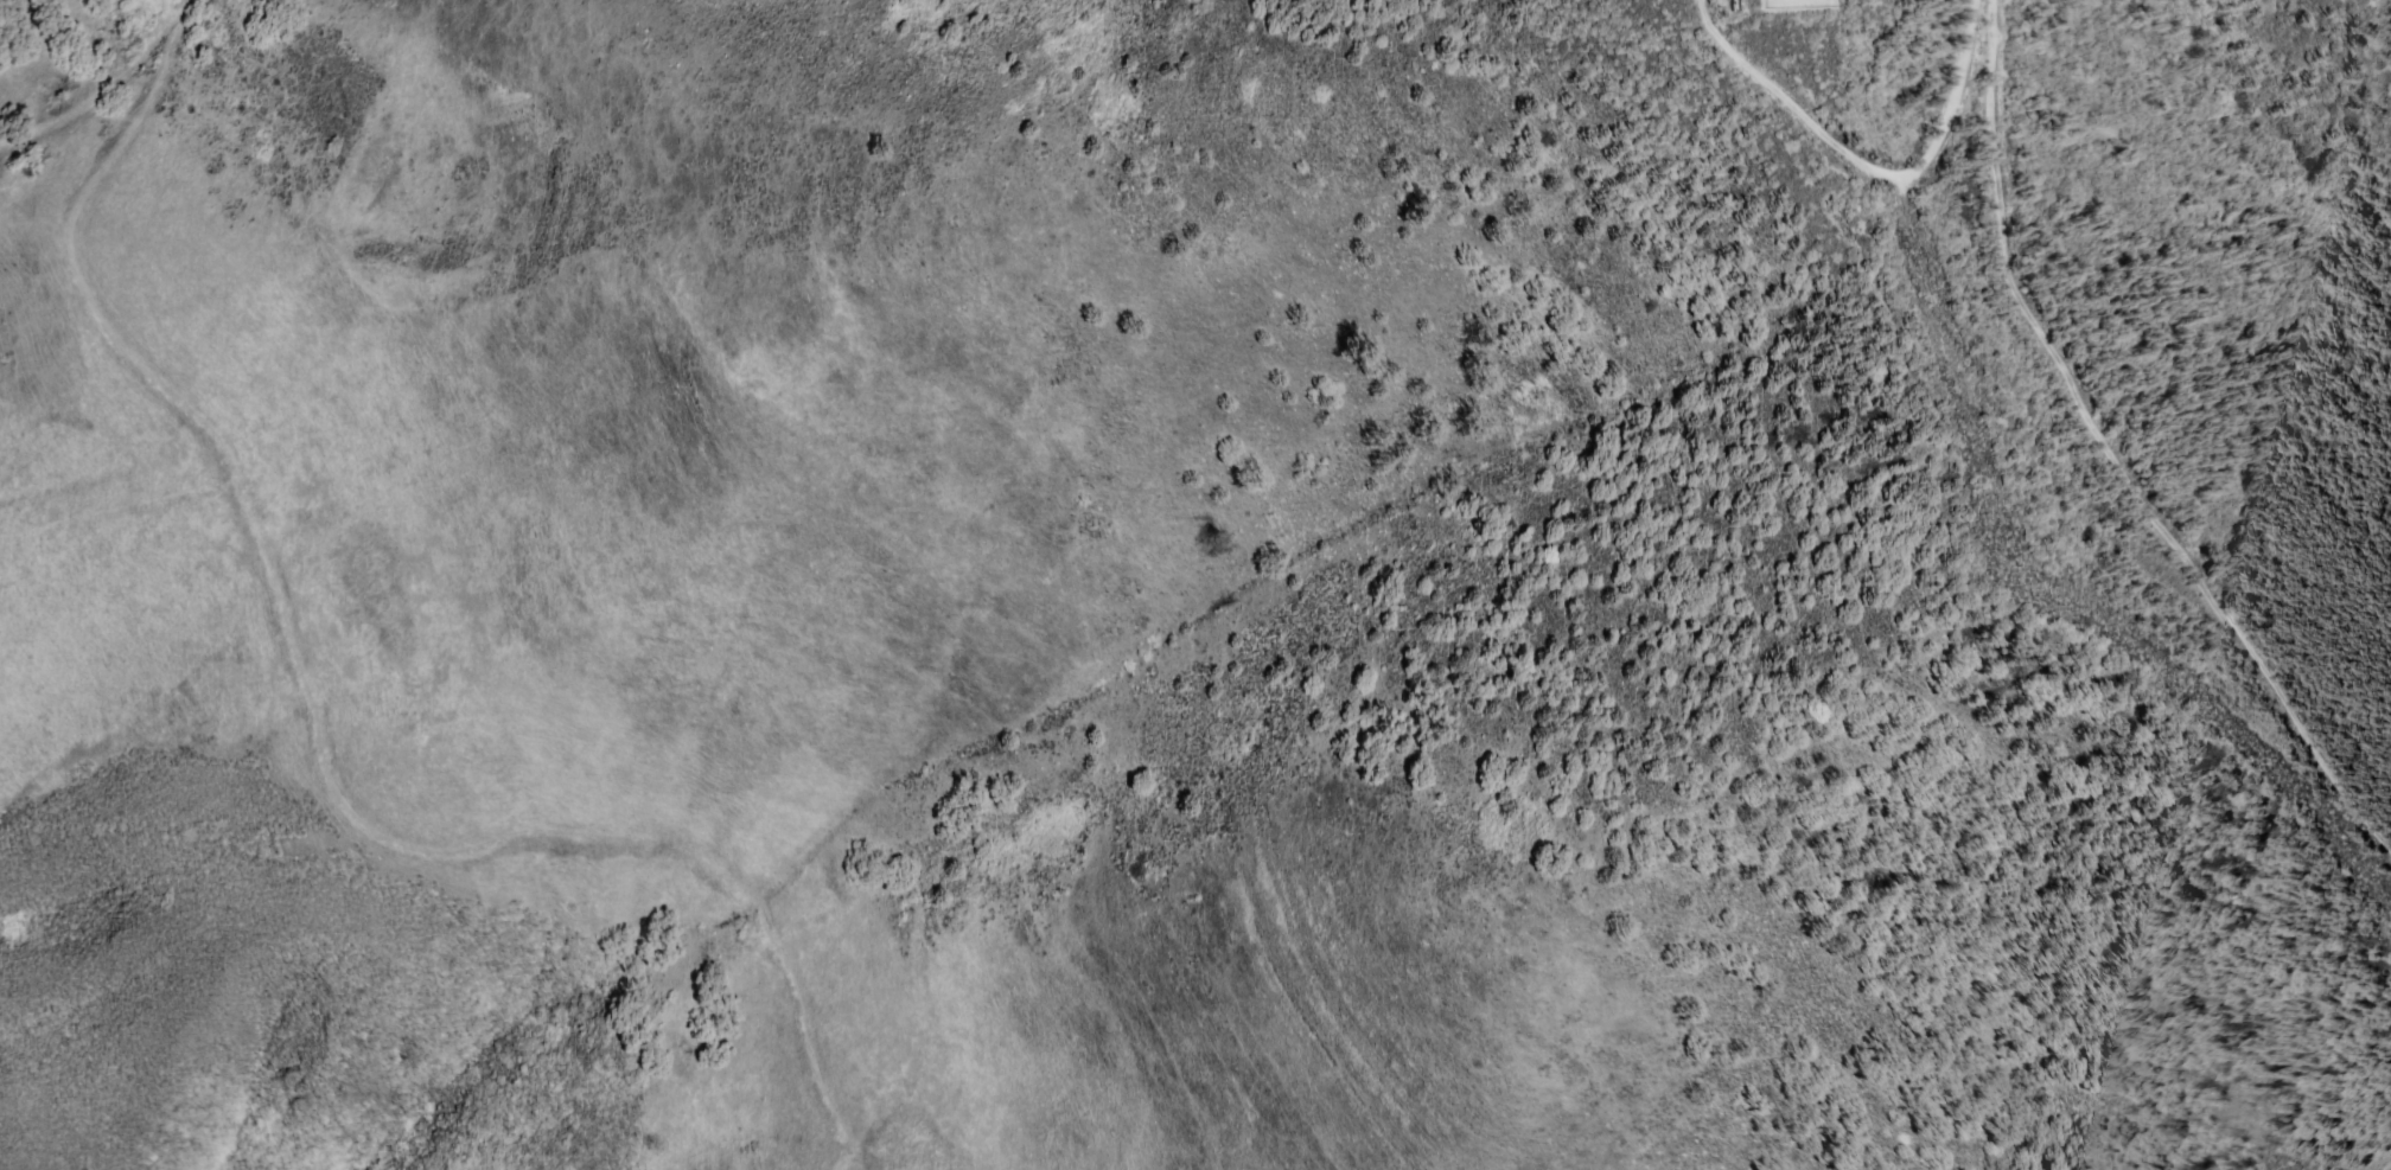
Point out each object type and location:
building: (1735, 5)
road: (103, 91)
road: (1869, 166)
road: (2116, 453)
road: (313, 728)

